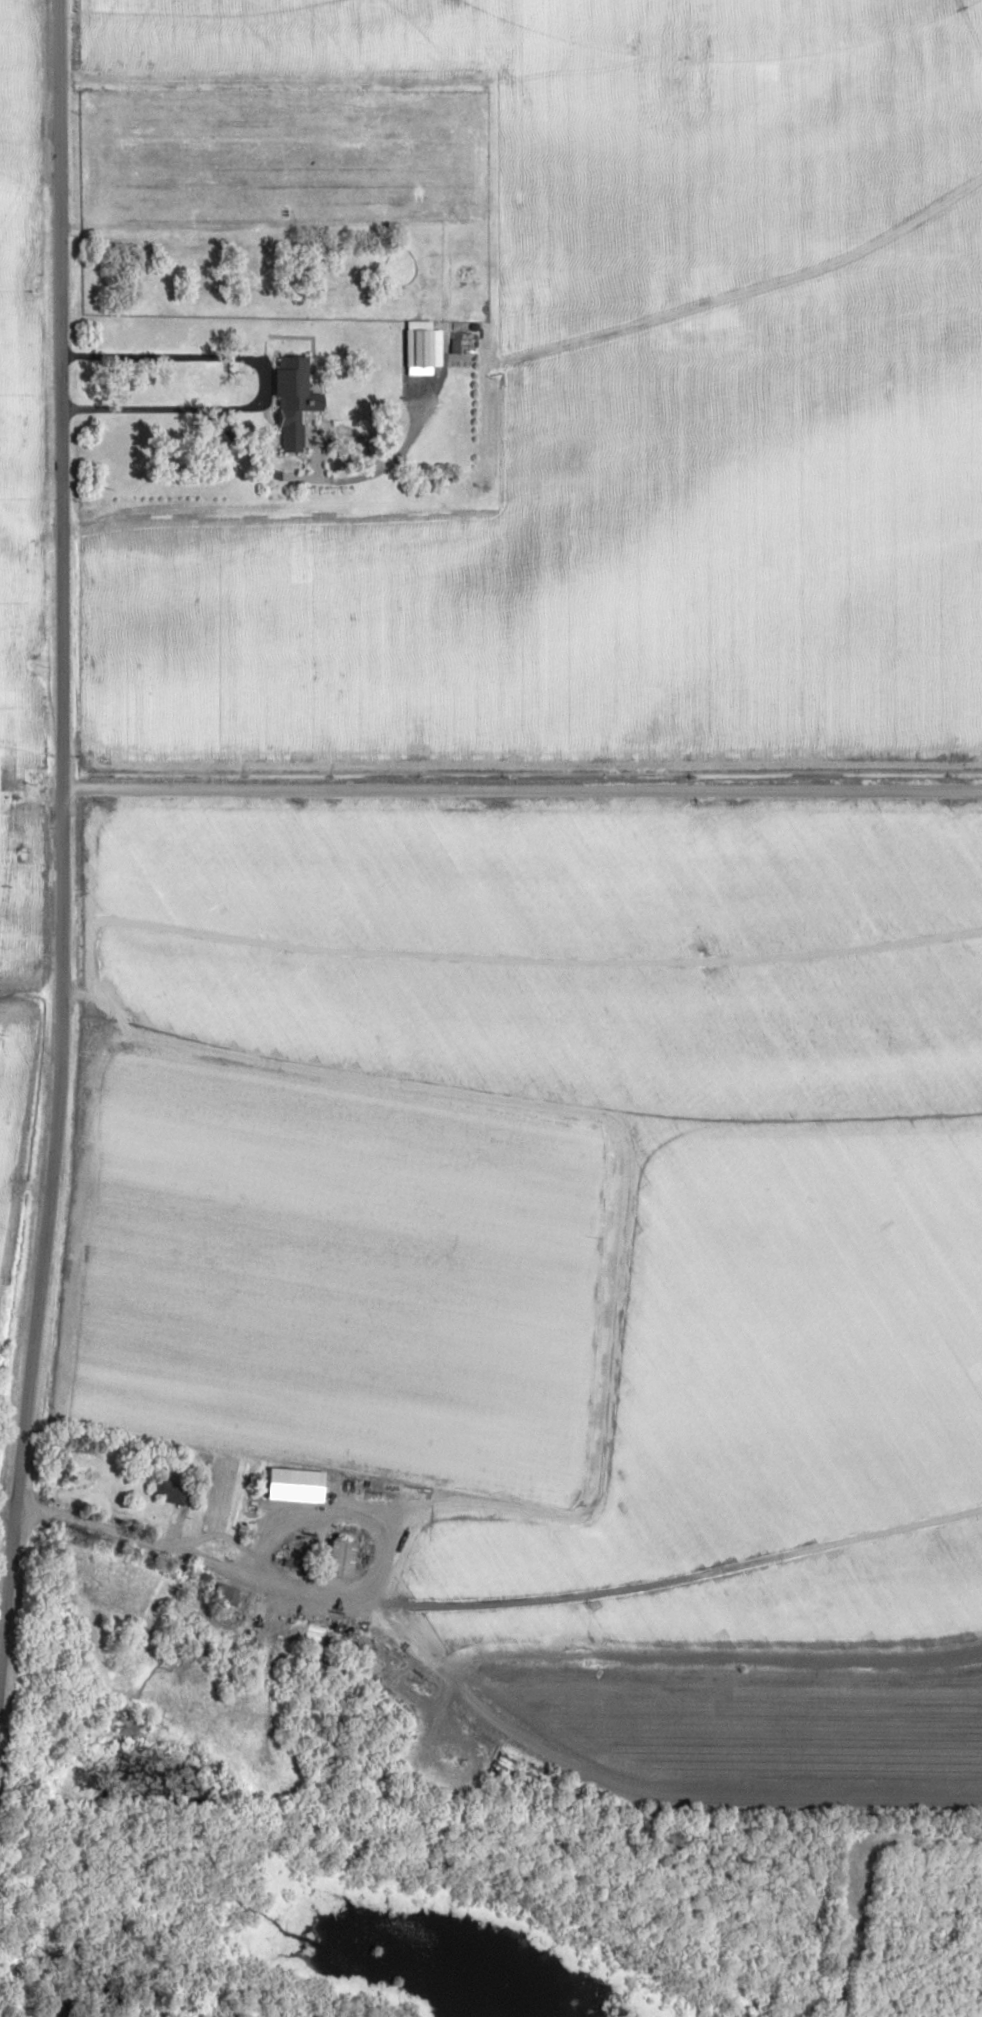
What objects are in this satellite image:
building: (290, 401)
road: (155, 410)
road: (522, 784)
road: (62, 802)
building: (167, 1490)
building: (226, 1518)
building: (340, 1558)
building: (234, 1598)
road: (489, 1605)
road: (649, 1798)

